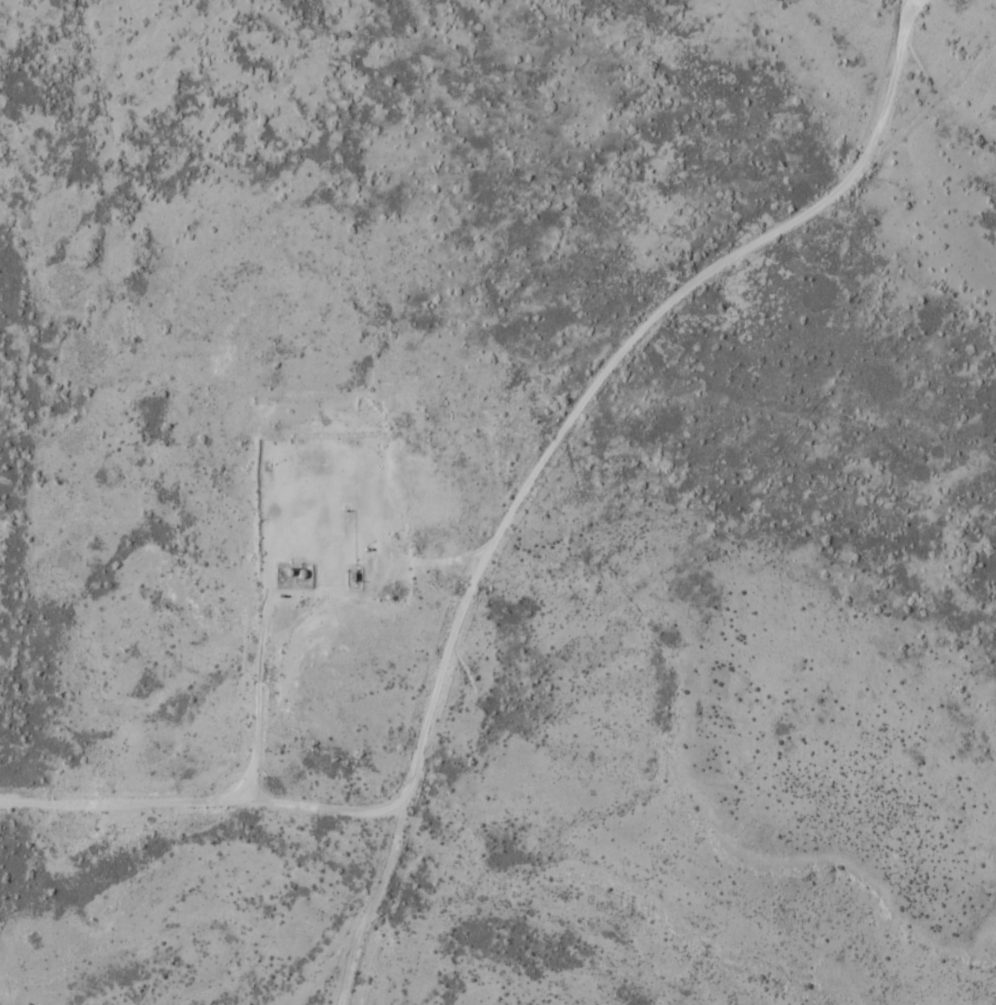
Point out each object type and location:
road: (892, 80)
road: (506, 517)
road: (255, 704)
road: (123, 791)

